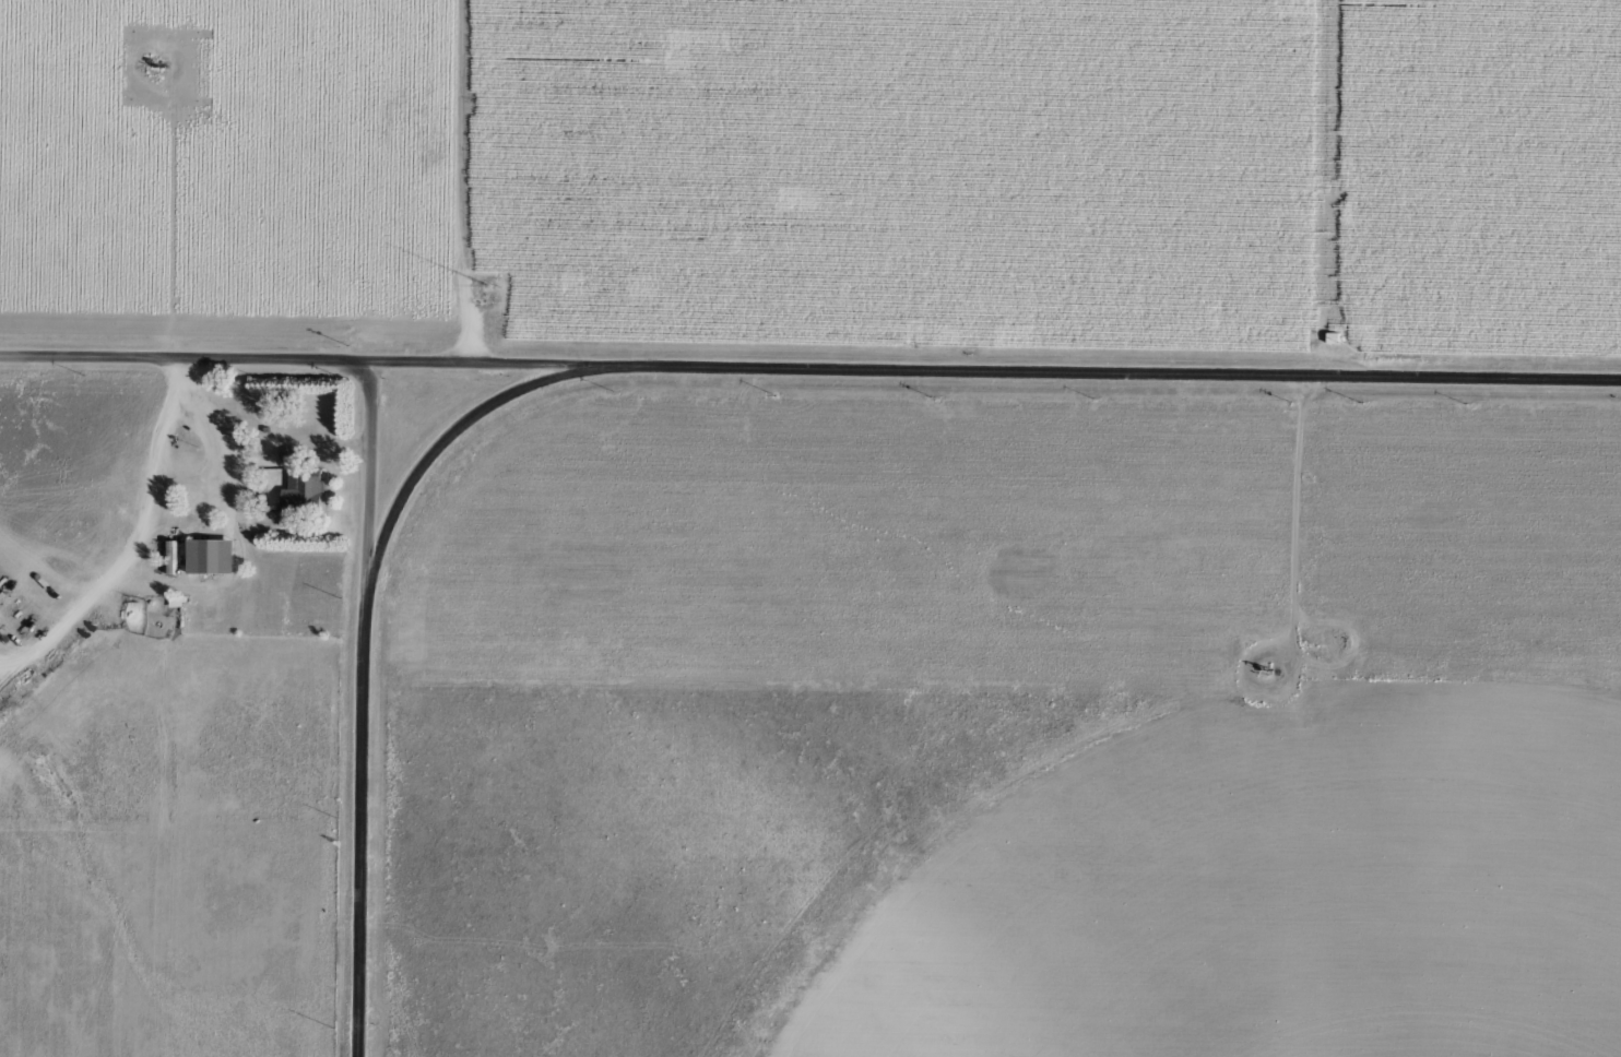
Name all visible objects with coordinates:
petroleum well: (164, 66)
road: (460, 183)
road: (296, 367)
road: (1107, 375)
road: (442, 458)
road: (367, 492)
road: (134, 542)
petroleum well: (1267, 675)
road: (364, 836)

